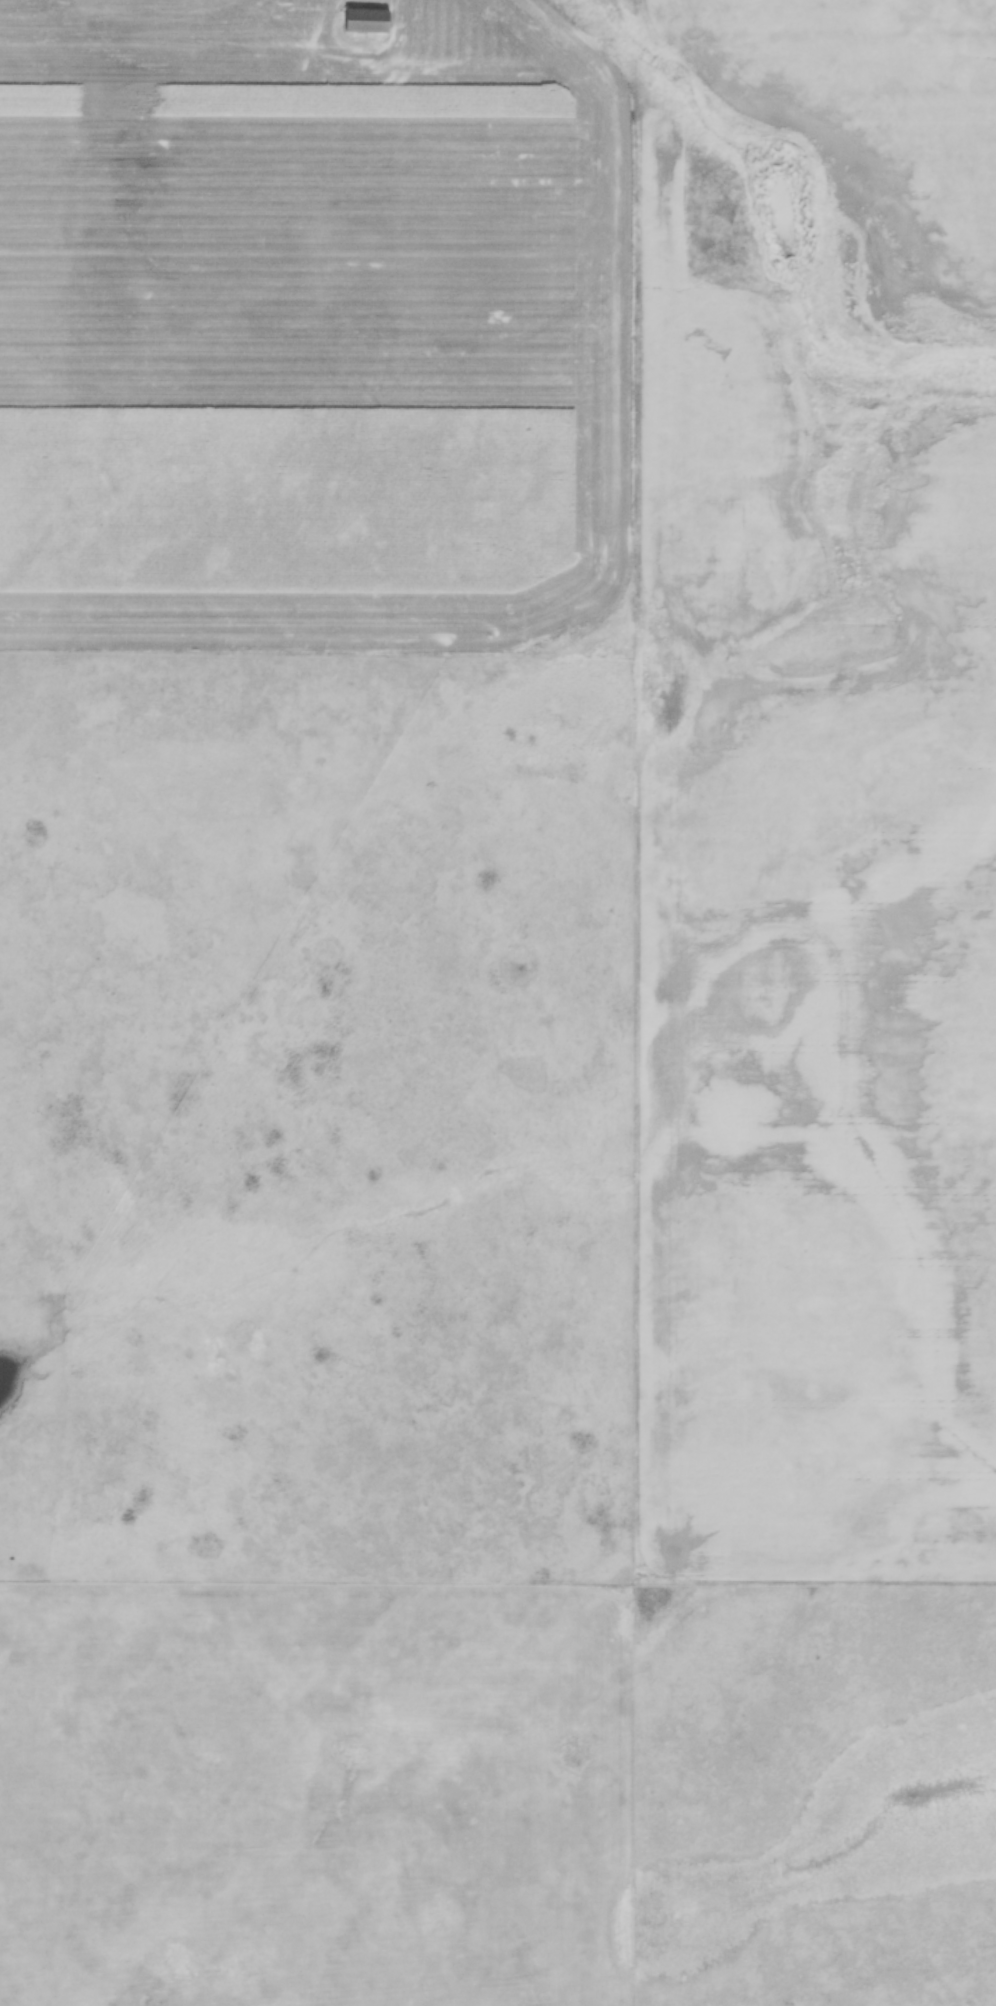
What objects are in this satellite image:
building: (365, 20)
crop: (317, 348)

